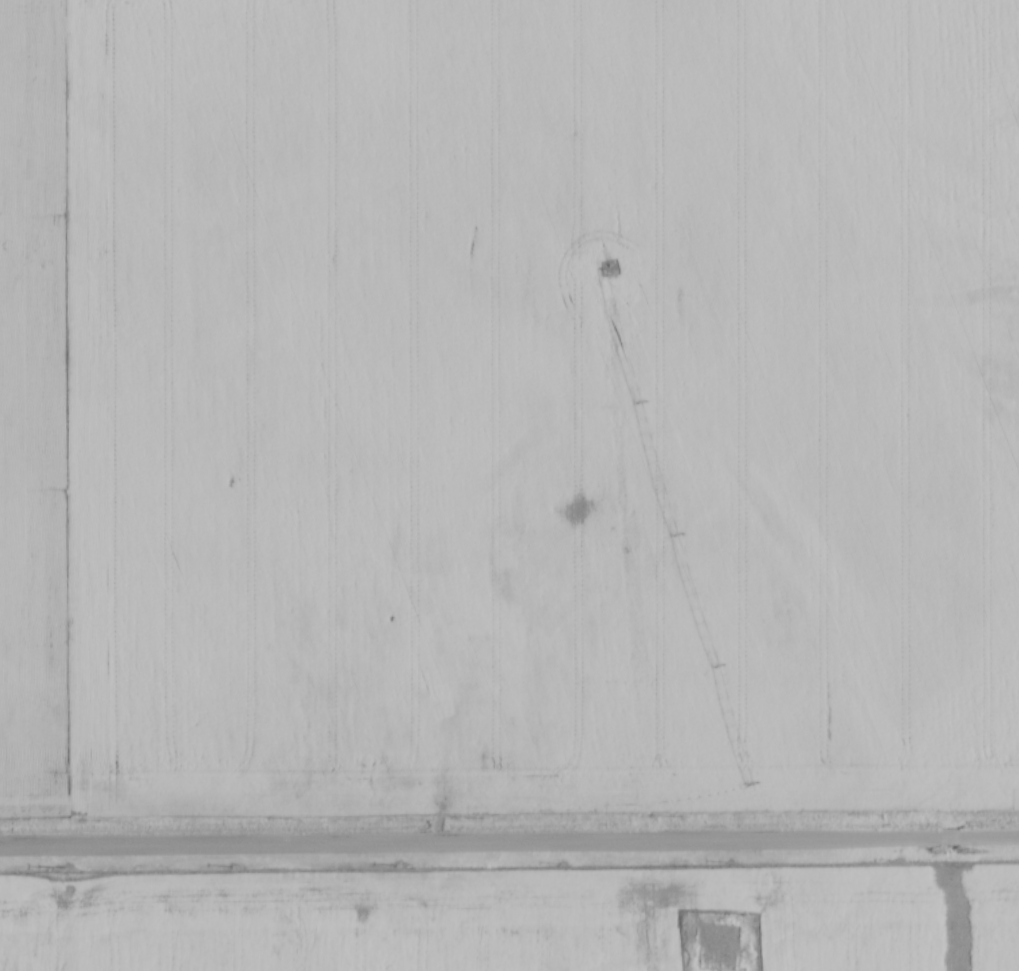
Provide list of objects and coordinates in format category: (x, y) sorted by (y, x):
road: (509, 839)

